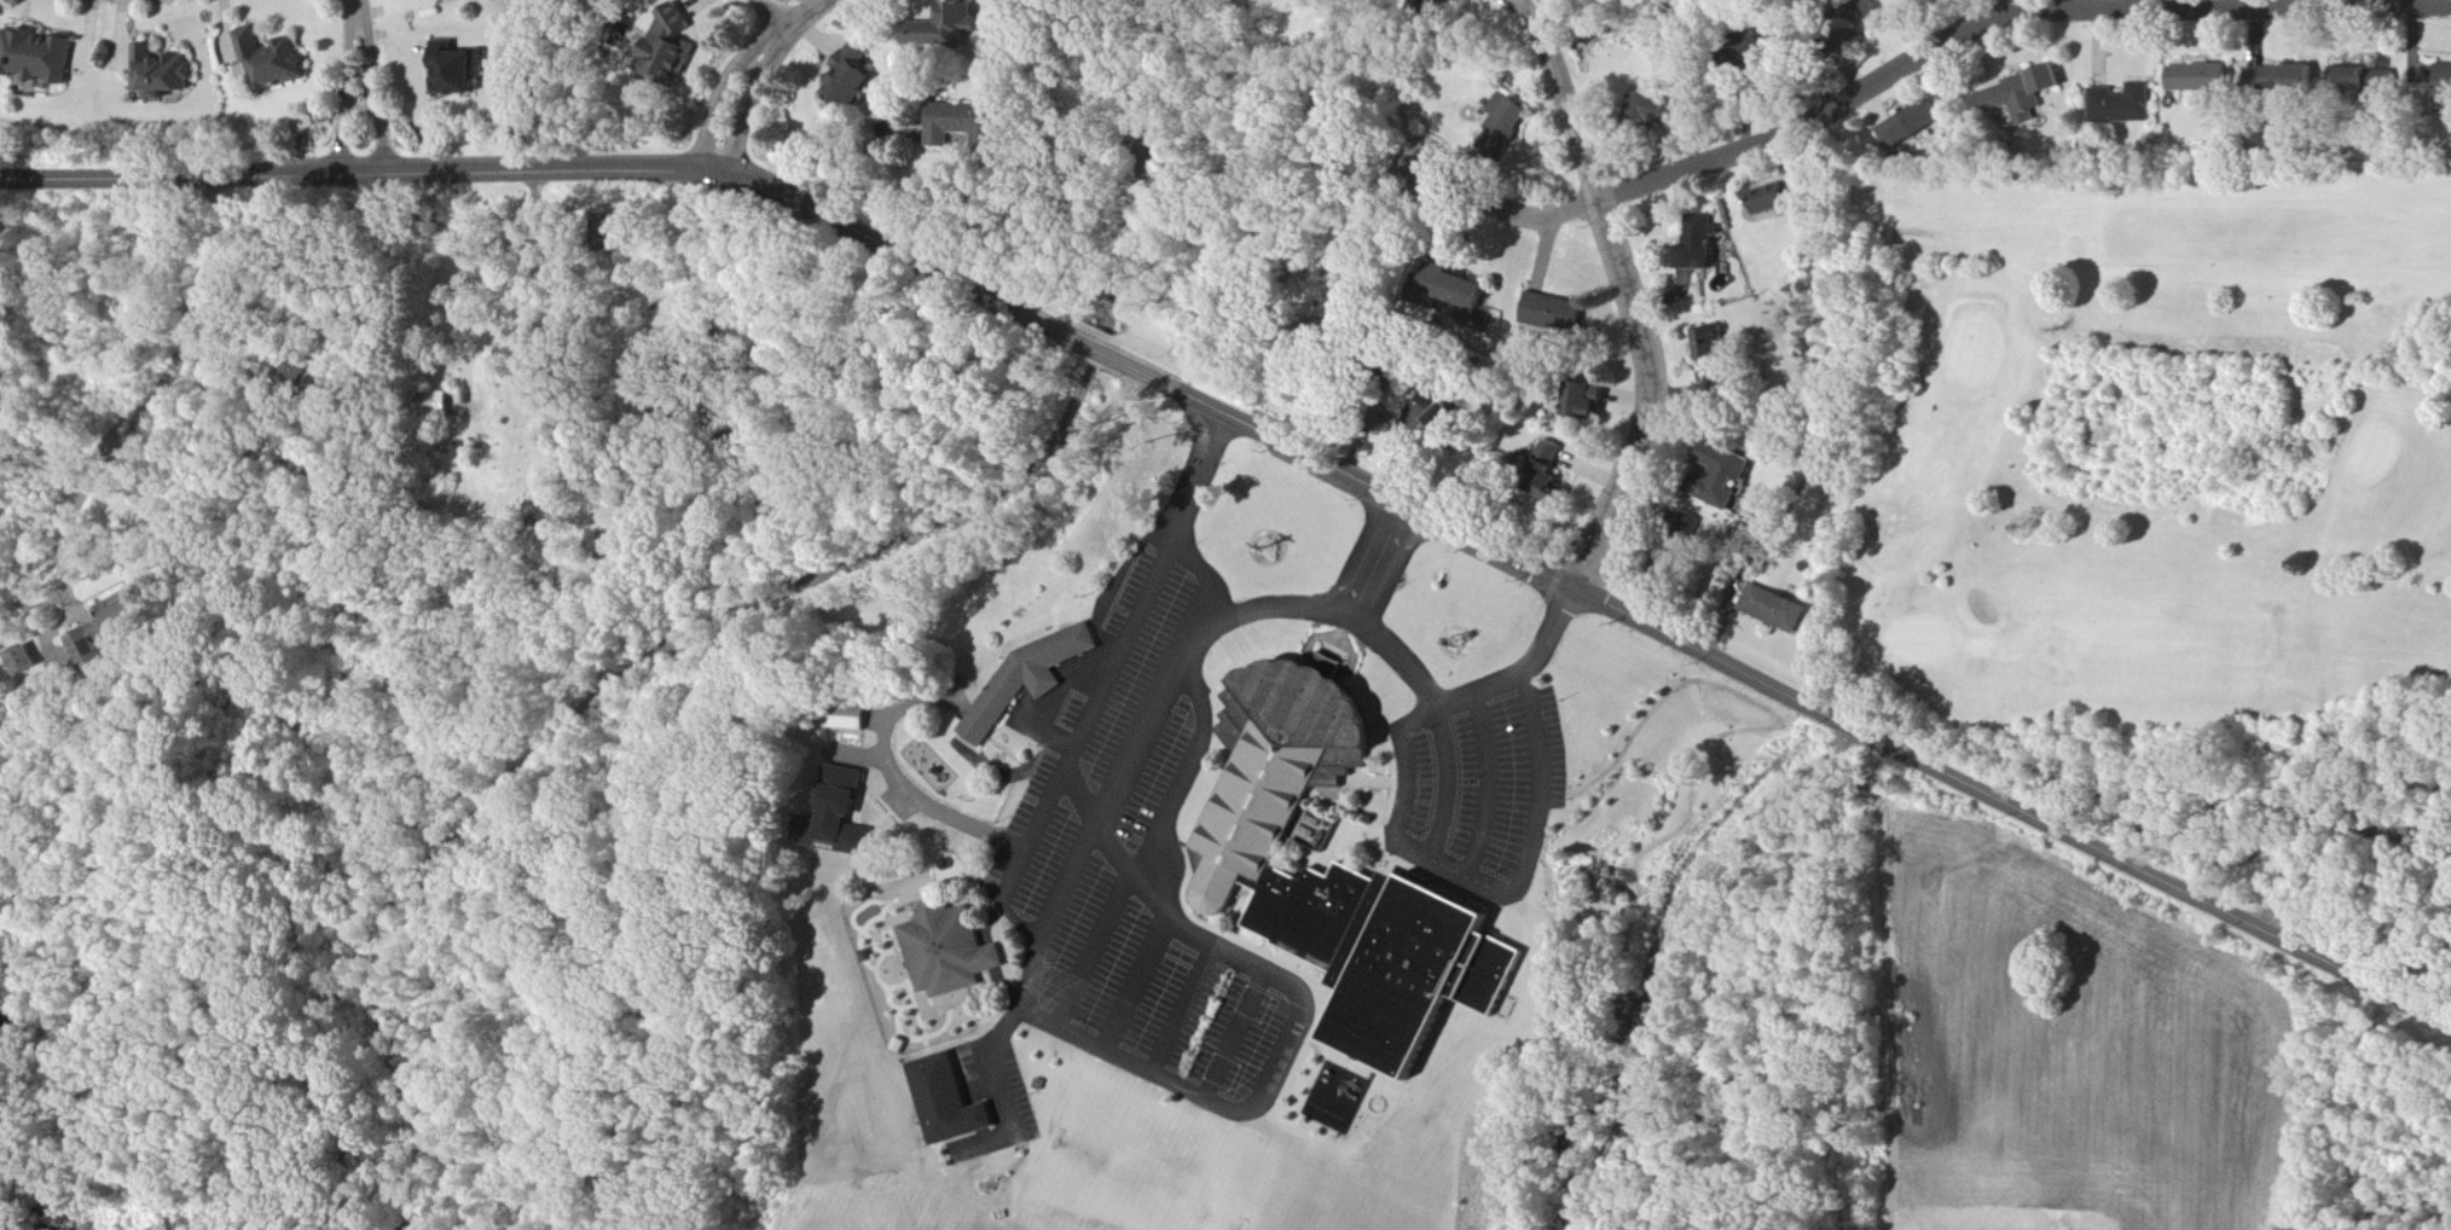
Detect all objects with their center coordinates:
road: (358, 4)
road: (2013, 5)
road: (2317, 5)
building: (1431, 6)
road: (775, 14)
road: (2005, 14)
building: (949, 27)
building: (670, 46)
building: (41, 56)
building: (274, 59)
building: (457, 70)
road: (757, 70)
building: (167, 72)
building: (2305, 77)
building: (852, 79)
building: (2202, 79)
building: (2269, 79)
building: (2368, 80)
building: (2445, 86)
road: (372, 89)
road: (350, 91)
building: (2024, 94)
building: (2122, 104)
road: (363, 109)
building: (1669, 112)
building: (1507, 122)
building: (966, 124)
building: (1913, 126)
road: (552, 168)
building: (1787, 198)
road: (1510, 209)
building: (1703, 244)
building: (1468, 291)
road: (1635, 297)
building: (1557, 313)
road: (1095, 348)
building: (1716, 349)
road: (160, 388)
building: (1589, 402)
building: (1445, 420)
park: (2165, 435)
building: (1554, 470)
road: (1194, 478)
building: (1727, 478)
road: (1206, 573)
road: (1270, 607)
building: (1777, 609)
building: (106, 628)
building: (24, 661)
road: (1409, 666)
building: (1030, 680)
road: (1786, 690)
road: (1039, 692)
building: (850, 720)
road: (1190, 770)
road: (1490, 785)
road: (903, 787)
building: (844, 816)
road: (2331, 829)
road: (1109, 846)
road: (1170, 864)
building: (1343, 875)
road: (1066, 880)
road: (1489, 886)
road: (1095, 950)
building: (949, 951)
road: (1138, 981)
road: (1184, 1009)
road: (1236, 1034)
road: (1141, 1066)
road: (997, 1086)
building: (950, 1103)

